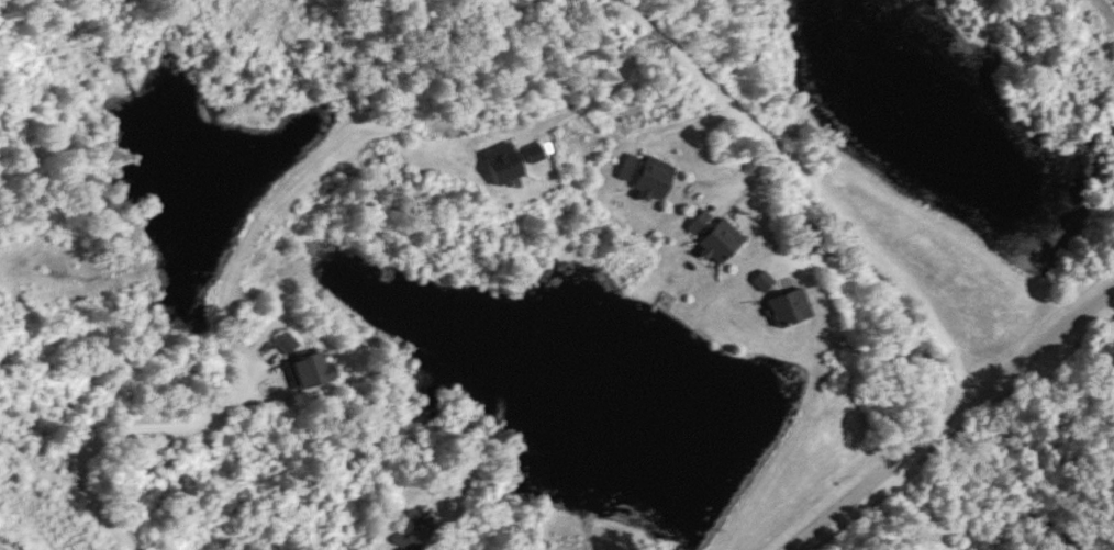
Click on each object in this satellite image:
building: (272, 23)
road: (606, 90)
building: (500, 164)
building: (644, 176)
road: (805, 186)
building: (713, 236)
building: (760, 281)
building: (787, 306)
building: (283, 343)
building: (307, 368)
road: (948, 415)
road: (111, 431)
building: (408, 530)

